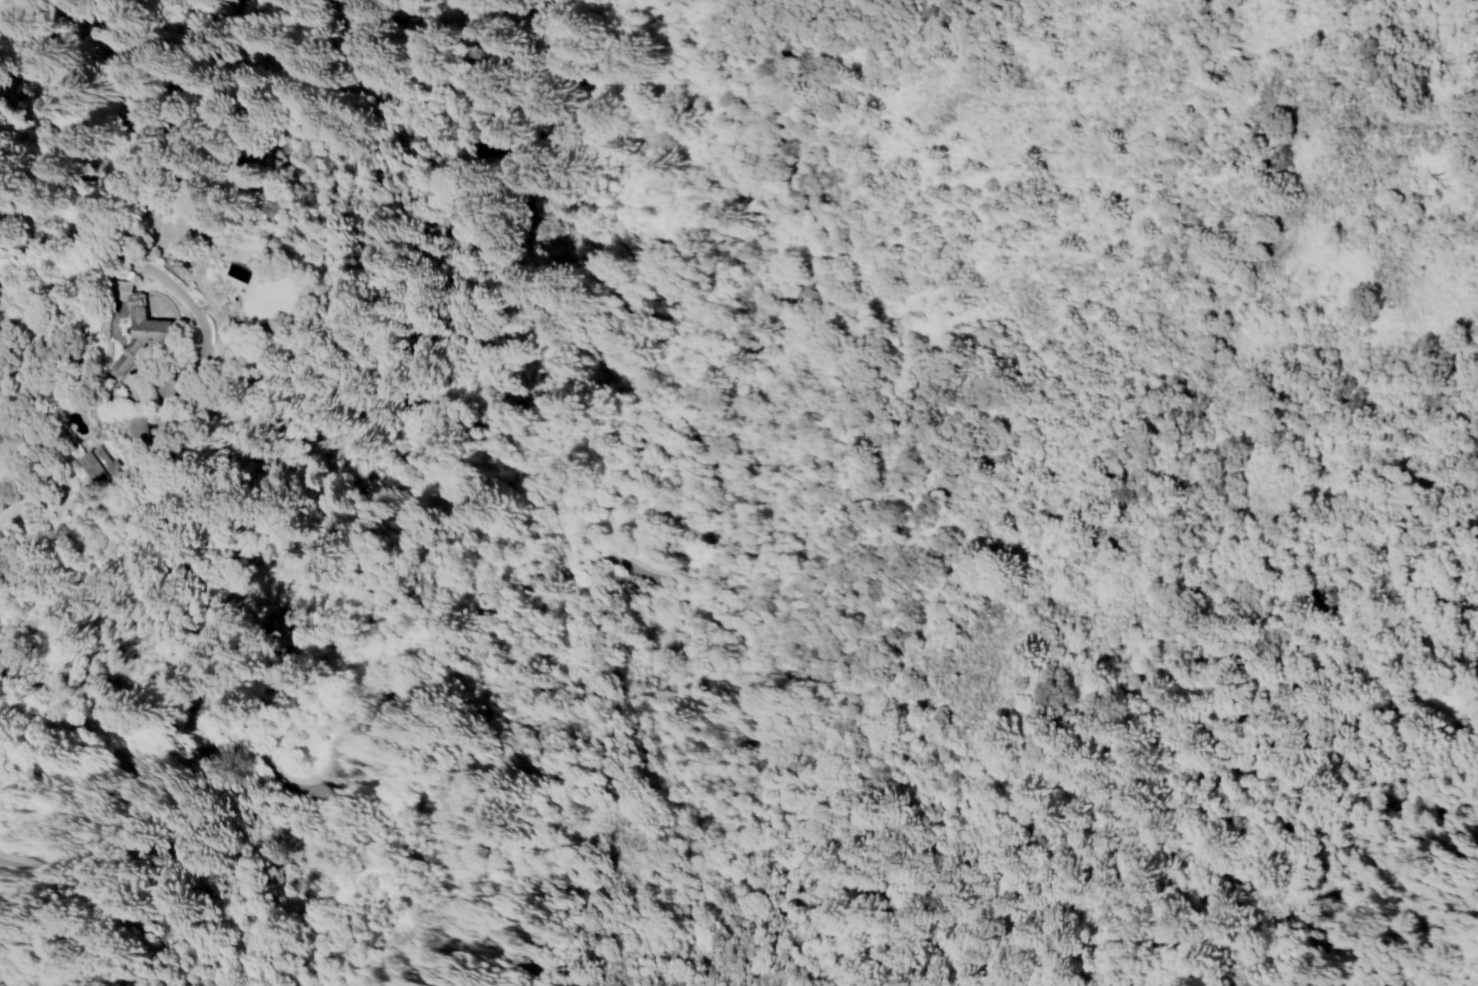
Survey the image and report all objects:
building: (139, 326)
building: (136, 426)
building: (100, 468)

